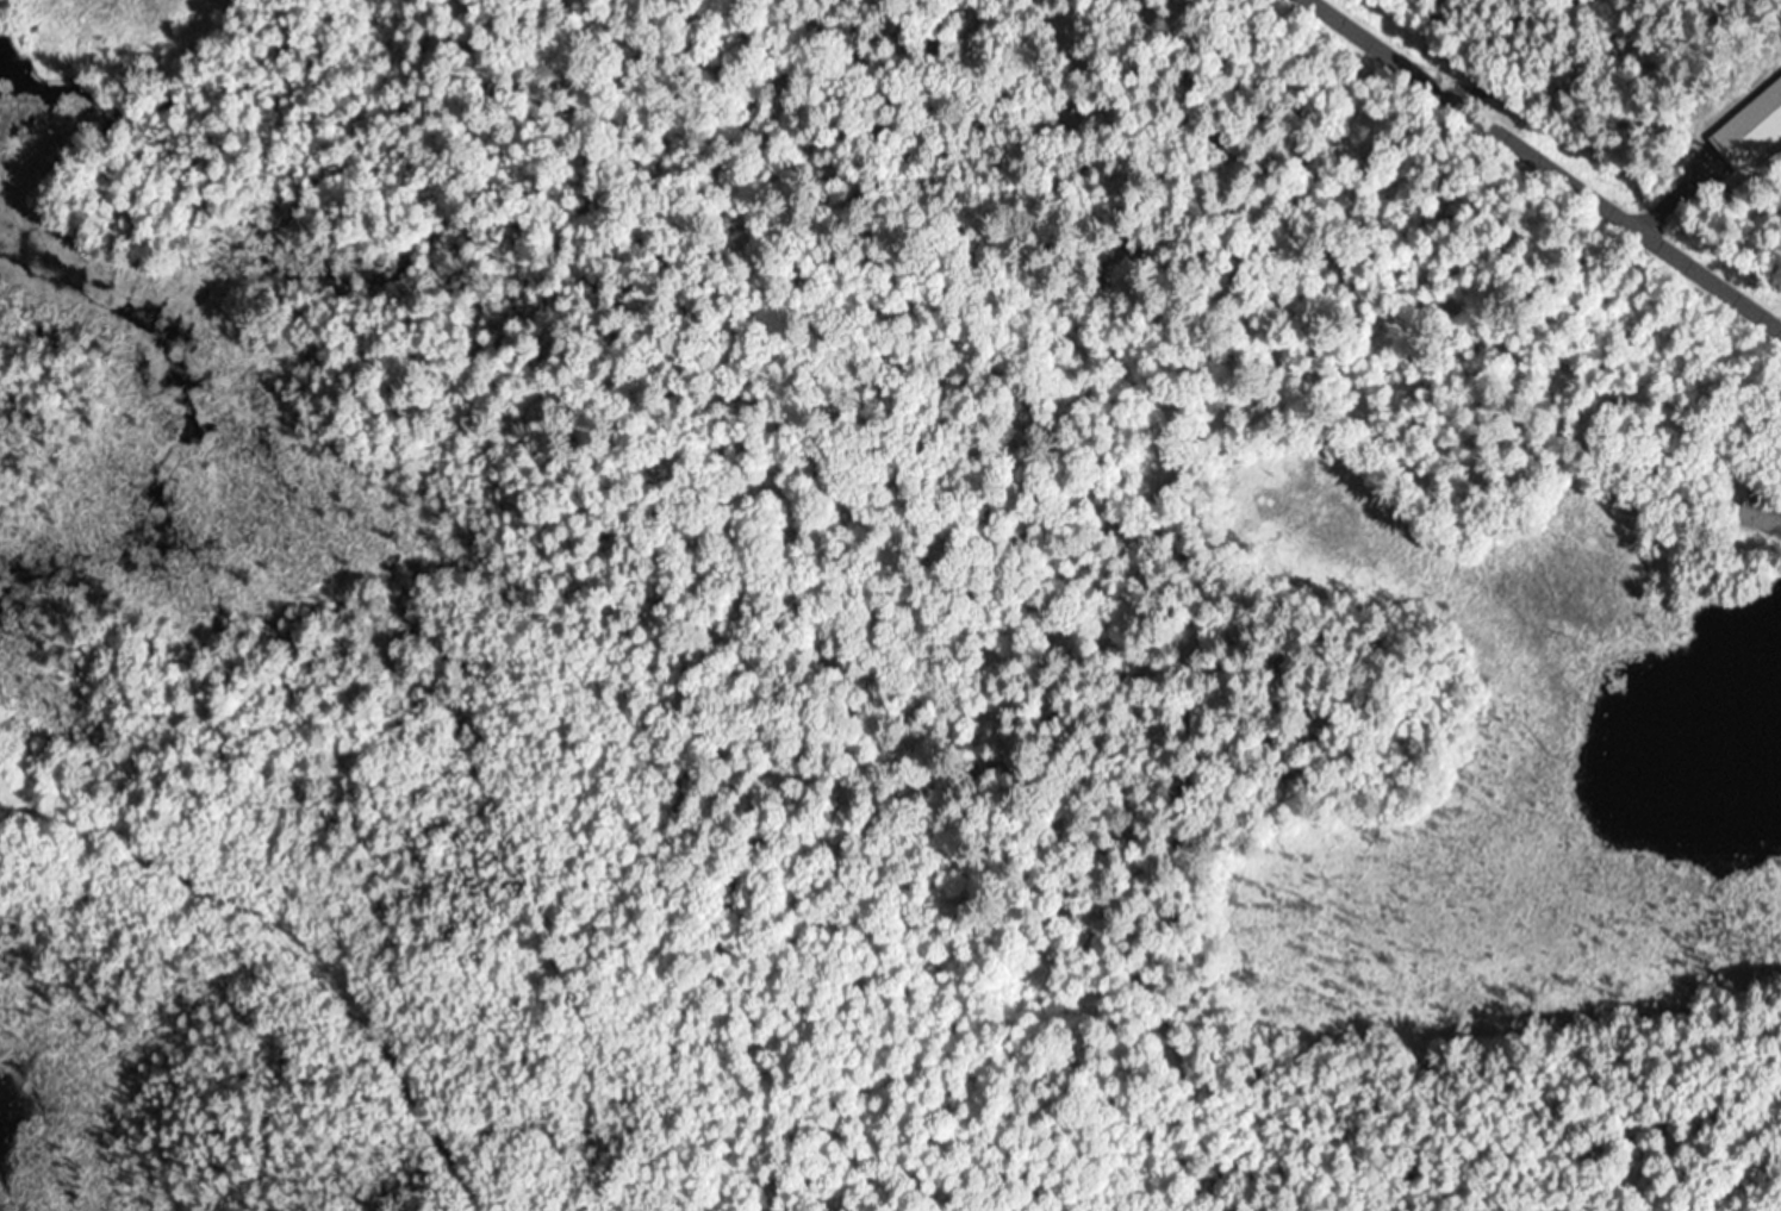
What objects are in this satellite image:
road: (1550, 162)
building: (1760, 511)

